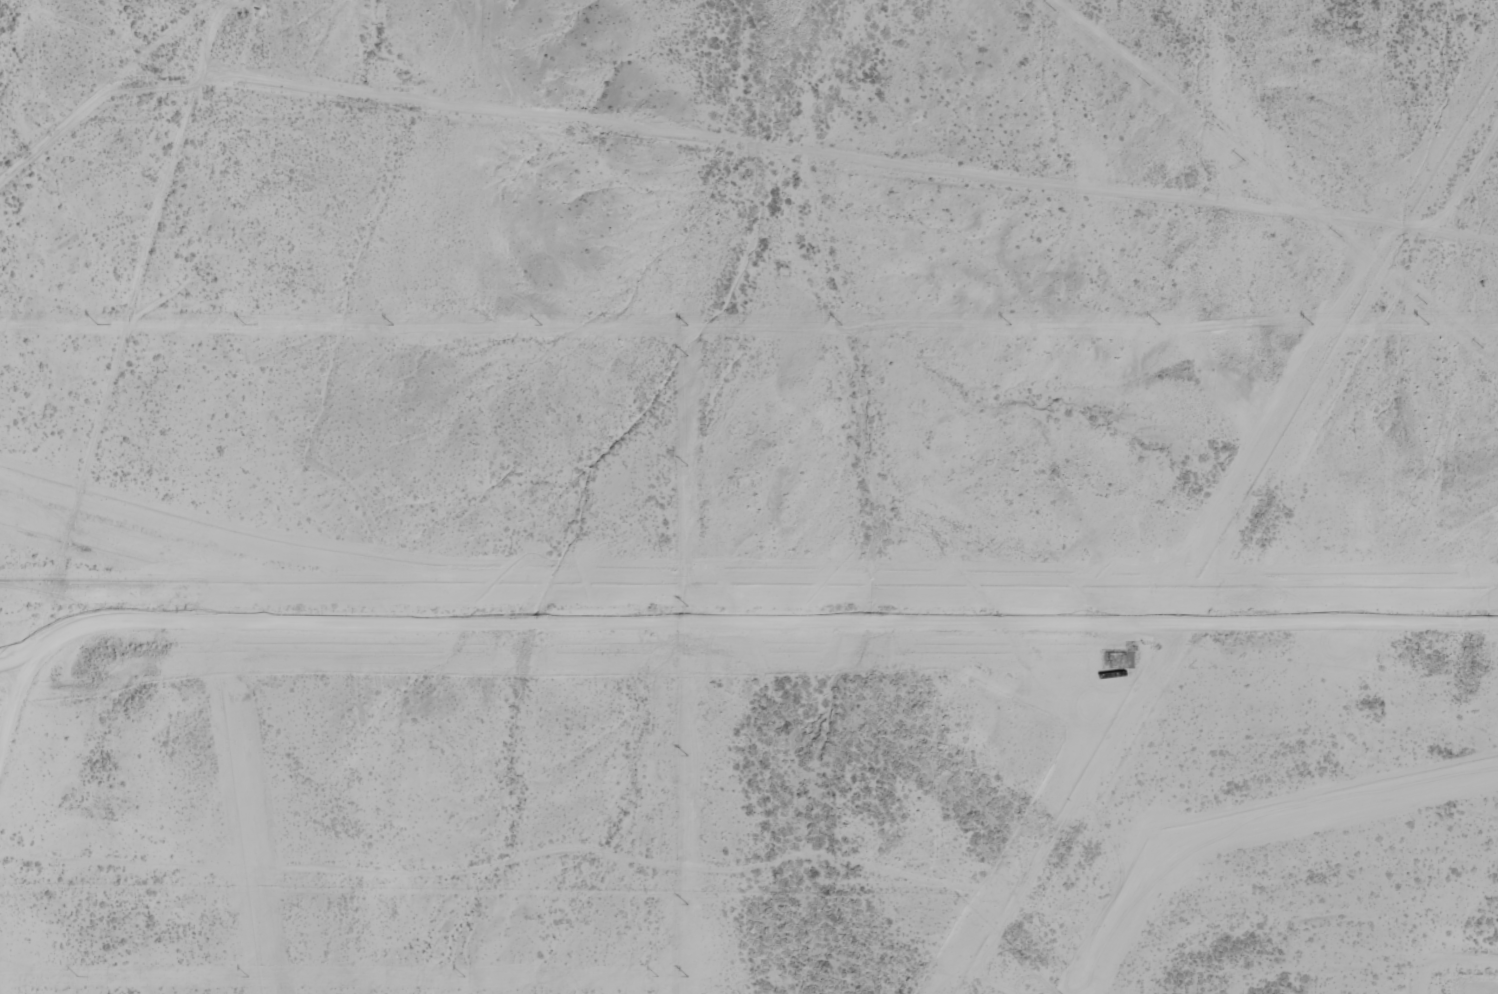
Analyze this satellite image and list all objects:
road: (697, 633)

